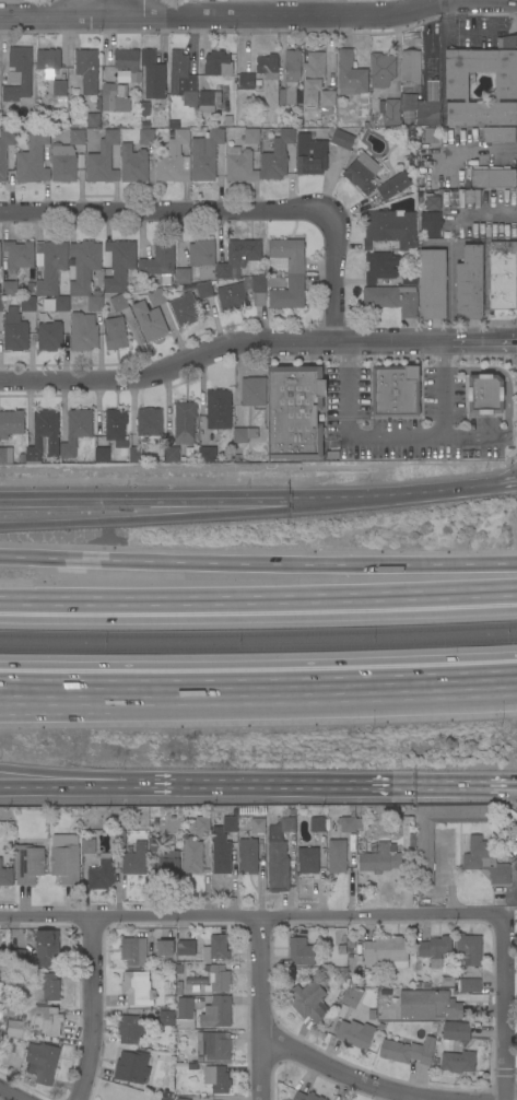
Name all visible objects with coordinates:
building: (23, 0)
road: (125, 4)
road: (60, 7)
road: (309, 7)
road: (220, 11)
building: (506, 43)
building: (48, 61)
building: (127, 61)
building: (218, 63)
building: (292, 65)
building: (268, 66)
building: (316, 68)
building: (411, 69)
building: (87, 70)
building: (381, 70)
building: (62, 73)
building: (180, 73)
building: (351, 74)
building: (152, 77)
building: (25, 79)
building: (246, 81)
building: (456, 85)
building: (59, 90)
building: (286, 96)
building: (114, 97)
building: (189, 98)
building: (209, 100)
building: (327, 102)
building: (408, 102)
building: (389, 112)
building: (427, 113)
building: (92, 120)
building: (498, 134)
building: (251, 136)
building: (432, 136)
building: (77, 137)
building: (146, 137)
building: (341, 139)
road: (484, 150)
building: (4, 151)
building: (204, 155)
building: (310, 155)
building: (277, 156)
building: (33, 157)
building: (173, 157)
building: (103, 160)
building: (62, 163)
building: (132, 164)
building: (239, 165)
building: (362, 173)
building: (432, 177)
building: (493, 177)
building: (393, 186)
building: (433, 202)
road: (228, 209)
road: (489, 214)
building: (431, 223)
building: (390, 229)
building: (289, 253)
building: (19, 255)
building: (238, 256)
building: (202, 258)
building: (160, 261)
building: (119, 265)
building: (50, 266)
building: (83, 266)
building: (380, 267)
building: (183, 276)
building: (503, 276)
building: (409, 278)
building: (258, 283)
building: (432, 284)
building: (469, 284)
building: (10, 289)
building: (204, 290)
building: (289, 293)
road: (449, 294)
building: (155, 296)
building: (232, 297)
building: (392, 299)
building: (94, 301)
building: (118, 303)
building: (1, 304)
building: (27, 304)
building: (61, 304)
building: (185, 309)
building: (149, 319)
building: (14, 331)
building: (83, 332)
building: (115, 332)
building: (49, 336)
road: (255, 341)
road: (503, 376)
building: (395, 390)
building: (252, 391)
building: (484, 393)
building: (218, 409)
building: (294, 412)
building: (184, 422)
building: (11, 423)
building: (150, 424)
building: (116, 428)
building: (75, 431)
building: (244, 434)
building: (44, 435)
road: (473, 437)
road: (396, 438)
building: (205, 453)
building: (171, 454)
building: (2, 455)
building: (102, 455)
building: (137, 455)
road: (435, 488)
road: (177, 499)
road: (177, 515)
road: (258, 562)
road: (442, 593)
road: (184, 605)
railway: (258, 632)
railway: (258, 646)
road: (380, 688)
road: (122, 691)
road: (122, 701)
road: (62, 774)
road: (247, 783)
road: (62, 785)
road: (443, 785)
building: (202, 824)
building: (317, 824)
building: (258, 826)
building: (119, 835)
building: (424, 842)
building: (154, 844)
building: (223, 845)
building: (87, 846)
building: (387, 847)
building: (279, 855)
building: (192, 856)
building: (247, 856)
building: (339, 856)
building: (64, 858)
building: (307, 858)
building: (134, 859)
building: (485, 861)
building: (27, 864)
building: (168, 864)
building: (101, 875)
building: (5, 876)
road: (342, 917)
building: (340, 940)
building: (184, 947)
building: (163, 948)
building: (216, 948)
building: (43, 949)
building: (435, 949)
building: (468, 950)
building: (133, 951)
building: (301, 951)
building: (387, 951)
building: (16, 956)
building: (3, 961)
building: (178, 967)
building: (341, 976)
building: (391, 976)
building: (404, 976)
building: (219, 979)
building: (445, 981)
building: (193, 983)
building: (48, 985)
building: (470, 985)
building: (137, 987)
building: (178, 987)
building: (352, 997)
building: (169, 1000)
building: (308, 1000)
building: (428, 1005)
road: (260, 1008)
road: (94, 1010)
building: (216, 1011)
building: (185, 1014)
building: (372, 1015)
building: (166, 1018)
building: (42, 1019)
building: (12, 1028)
building: (129, 1029)
building: (411, 1029)
building: (456, 1030)
building: (0, 1031)
building: (0, 1033)
building: (355, 1033)
building: (0, 1038)
building: (8, 1044)
building: (214, 1045)
building: (408, 1051)
building: (40, 1062)
building: (458, 1062)
building: (184, 1066)
building: (131, 1067)
road: (339, 1075)
building: (215, 1078)
road: (13, 1093)
building: (167, 1093)
building: (306, 1096)
building: (165, 1098)
building: (158, 1099)
building: (180, 1099)
road: (512, 1099)

